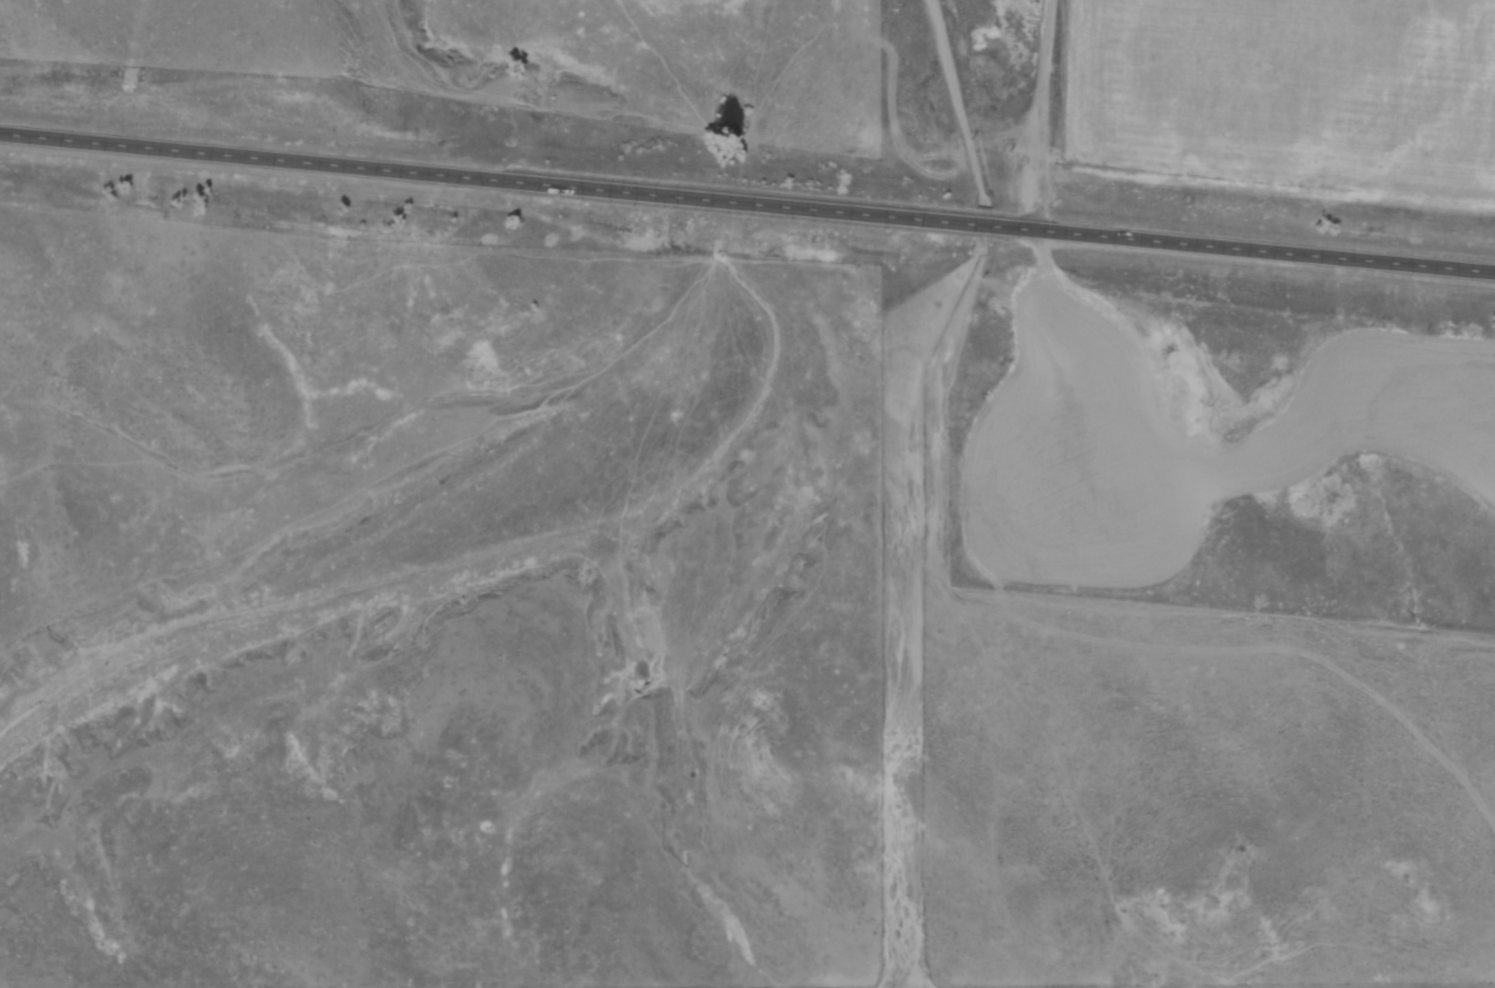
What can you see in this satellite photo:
road: (1046, 114)
road: (747, 203)

